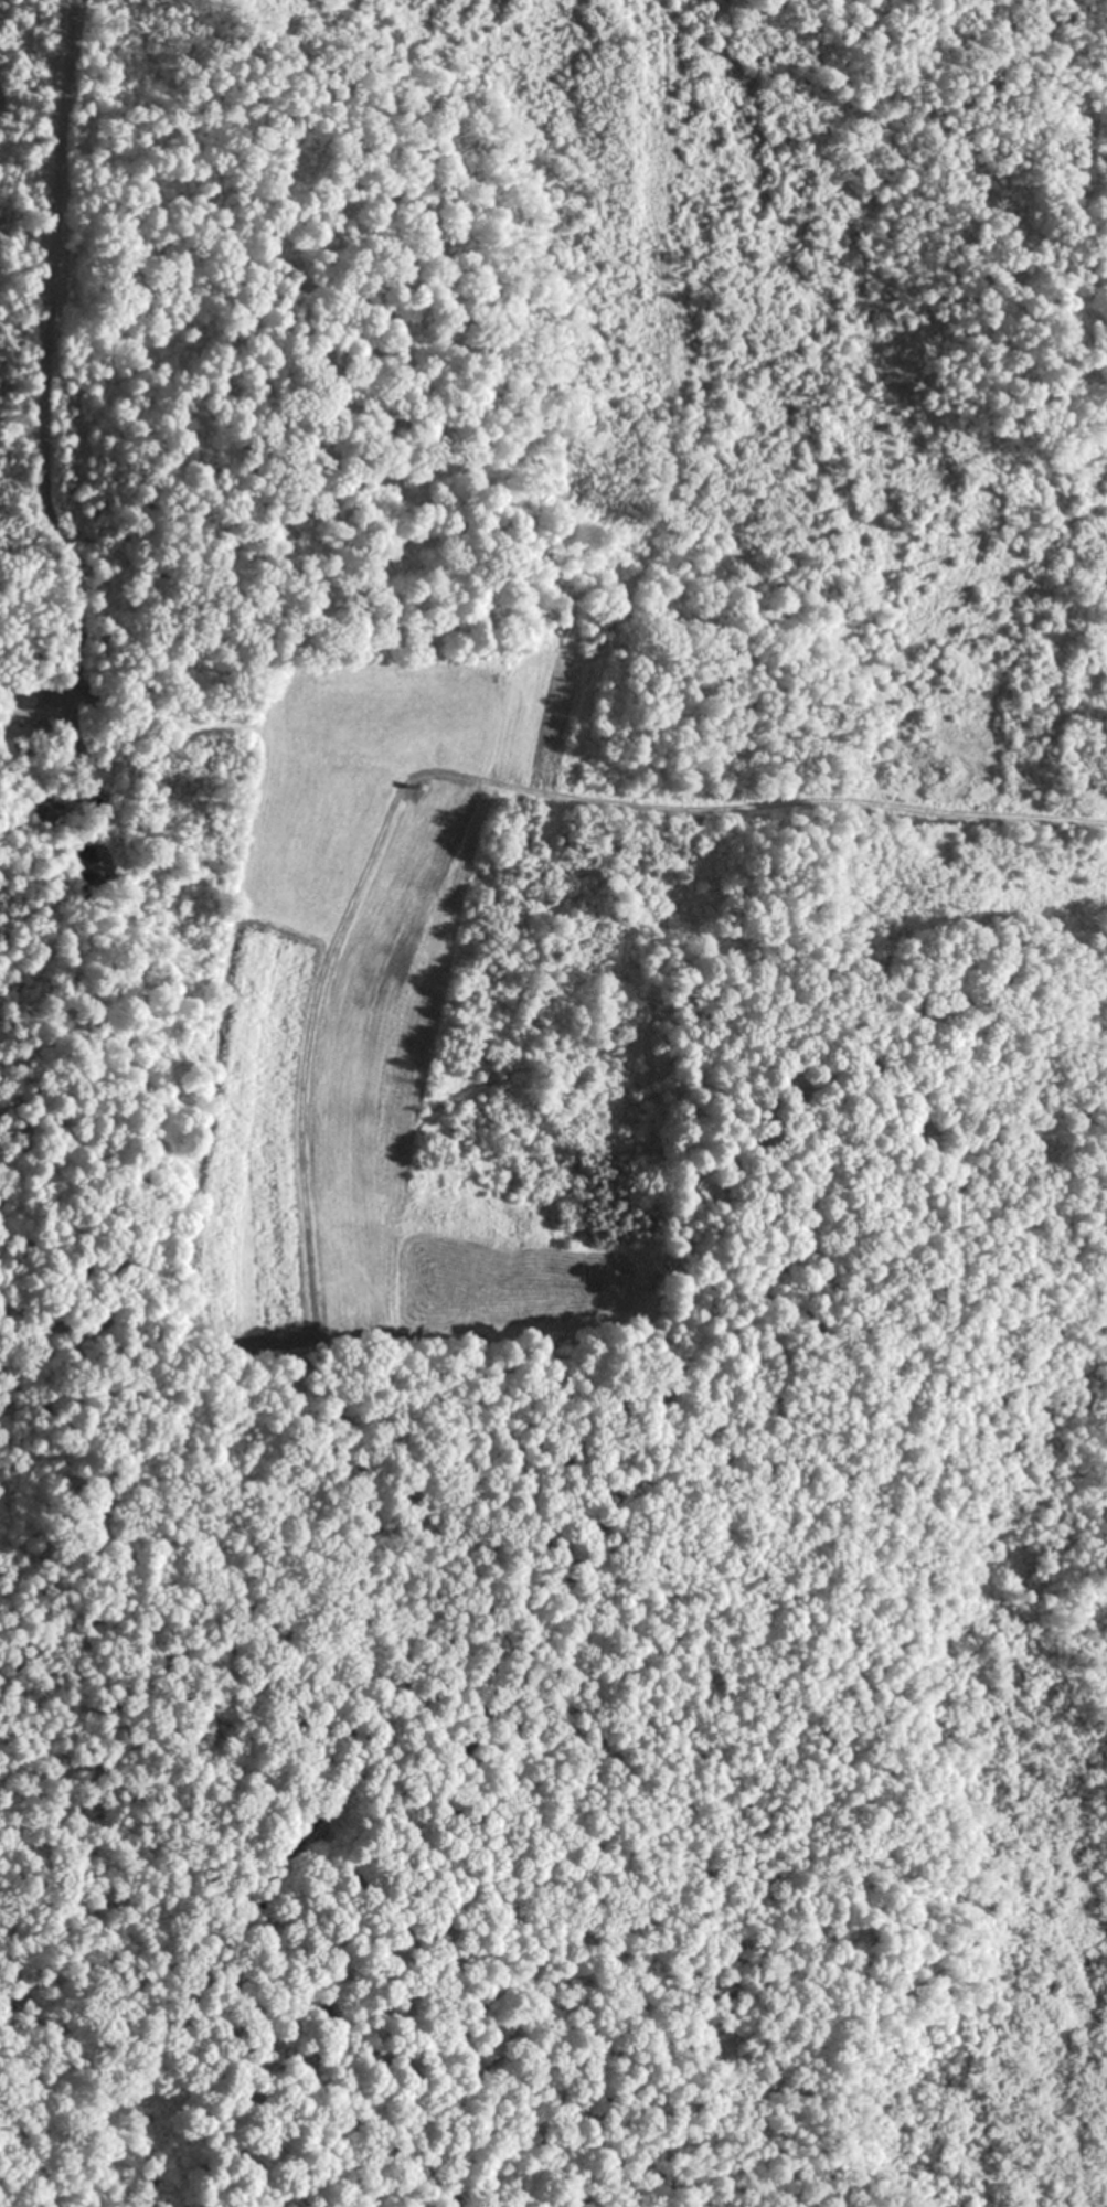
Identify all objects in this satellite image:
building: (21, 701)

